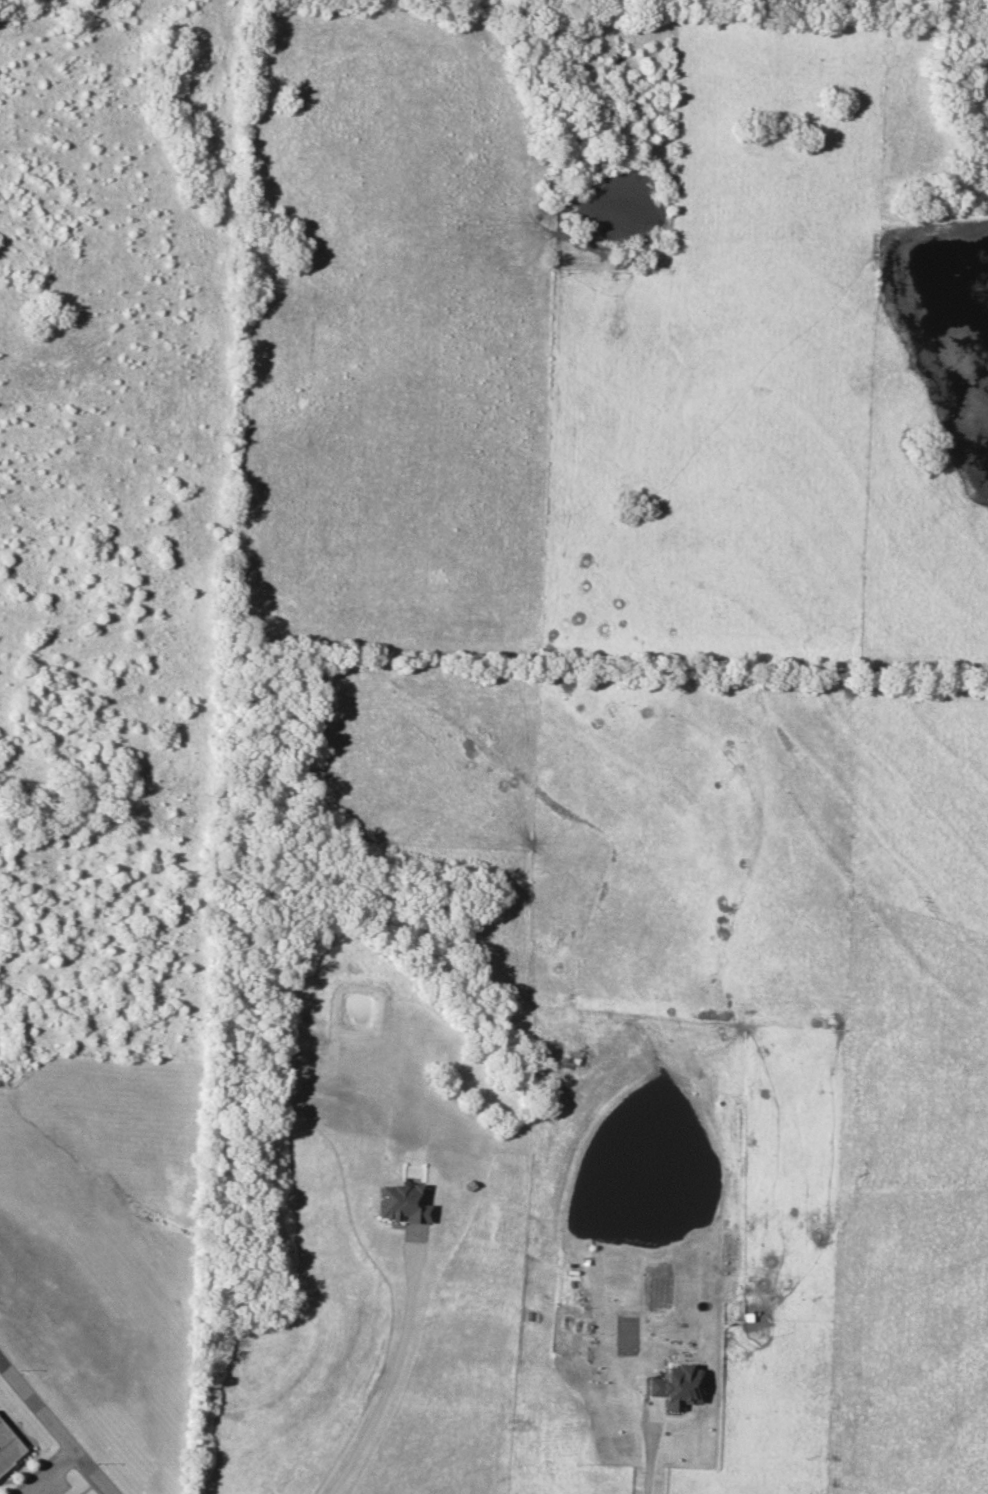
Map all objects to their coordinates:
building: (400, 1203)
road: (389, 1370)
building: (674, 1386)
road: (39, 1404)
building: (8, 1446)
road: (646, 1449)
road: (53, 1473)
road: (95, 1473)

